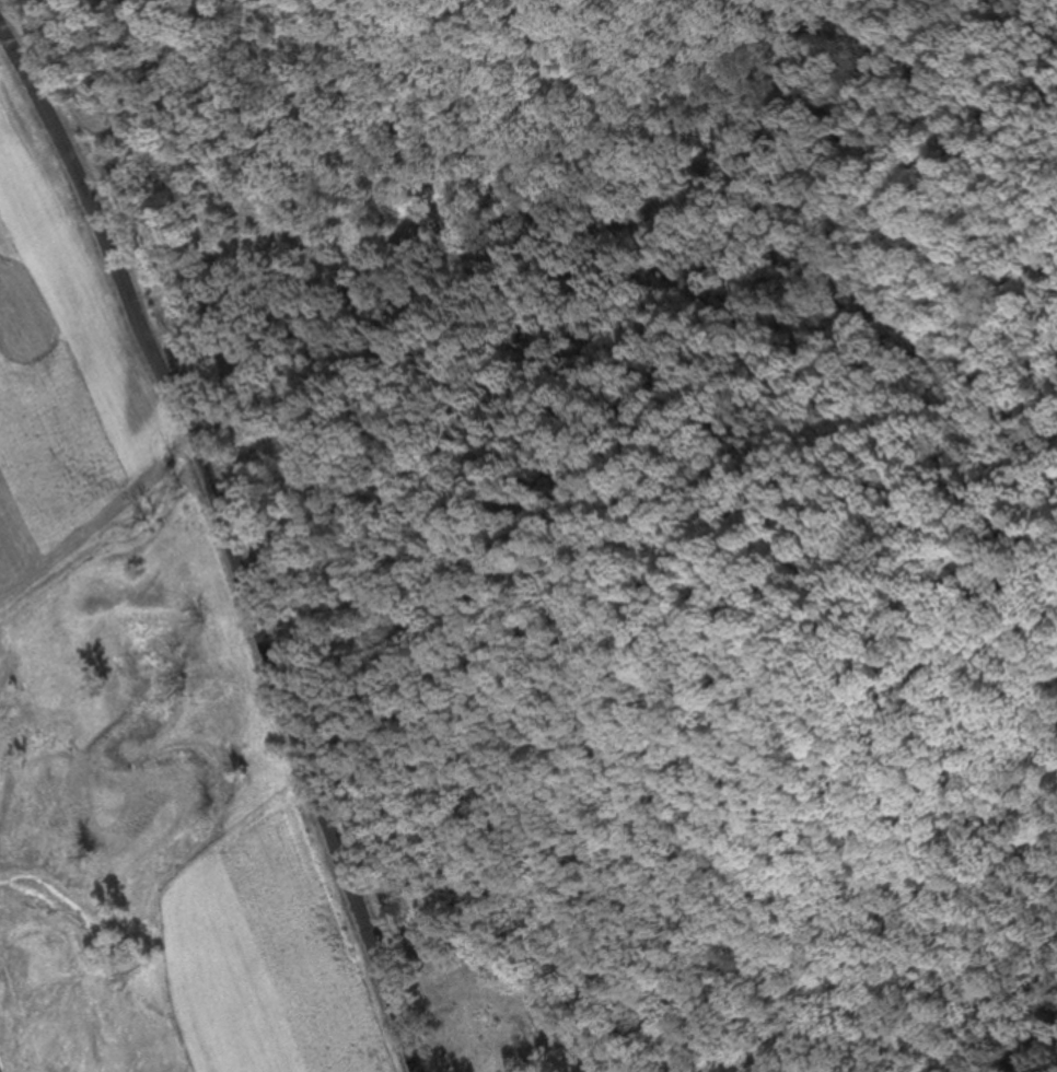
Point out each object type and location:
road: (224, 545)

